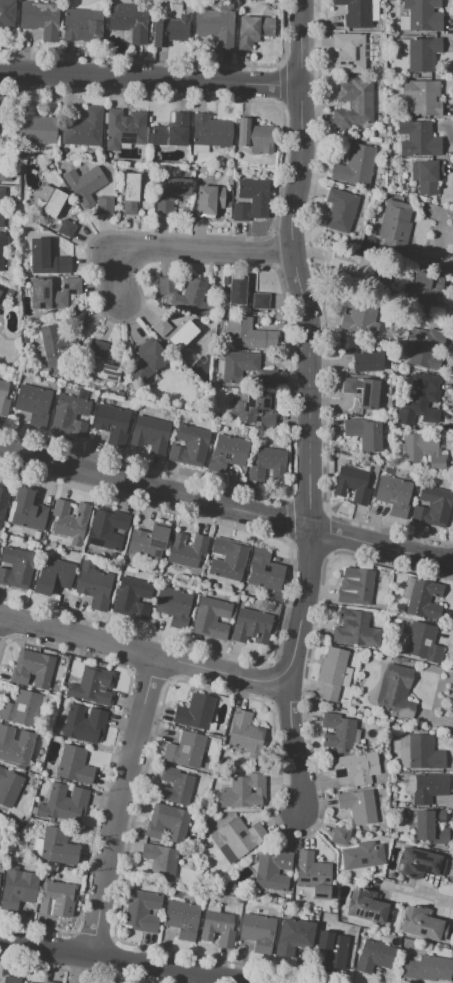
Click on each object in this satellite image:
building: (6, 13)
building: (355, 13)
building: (422, 15)
building: (40, 18)
building: (128, 20)
building: (82, 25)
building: (216, 25)
building: (171, 29)
building: (253, 30)
building: (349, 52)
building: (423, 55)
road: (151, 78)
building: (421, 97)
building: (353, 104)
building: (1, 105)
building: (35, 126)
building: (124, 128)
building: (83, 129)
building: (172, 132)
building: (210, 132)
building: (255, 136)
building: (418, 139)
building: (355, 165)
building: (5, 175)
building: (427, 177)
building: (84, 185)
building: (130, 193)
building: (170, 193)
building: (209, 199)
building: (50, 200)
building: (251, 200)
building: (1, 205)
building: (104, 205)
building: (339, 210)
building: (397, 224)
building: (66, 227)
building: (1, 250)
road: (178, 250)
building: (47, 257)
road: (295, 265)
building: (349, 266)
building: (0, 291)
building: (236, 292)
building: (424, 292)
building: (53, 293)
building: (188, 295)
building: (359, 315)
building: (160, 327)
building: (249, 334)
building: (183, 339)
building: (56, 345)
building: (419, 348)
building: (99, 349)
building: (359, 356)
building: (147, 360)
building: (246, 368)
building: (105, 372)
building: (362, 391)
building: (3, 398)
building: (416, 398)
building: (33, 403)
building: (255, 407)
building: (69, 415)
building: (111, 423)
building: (148, 434)
building: (364, 434)
building: (189, 445)
building: (423, 450)
building: (227, 452)
building: (268, 463)
building: (352, 484)
road: (155, 491)
building: (393, 495)
building: (4, 498)
building: (432, 506)
building: (27, 510)
building: (70, 521)
building: (107, 528)
building: (148, 542)
road: (382, 546)
building: (186, 550)
building: (228, 558)
building: (17, 567)
building: (265, 570)
building: (53, 575)
building: (356, 585)
building: (94, 586)
building: (421, 597)
building: (132, 598)
building: (173, 606)
road: (301, 607)
building: (211, 618)
building: (251, 626)
building: (355, 628)
building: (422, 642)
road: (138, 653)
building: (32, 668)
building: (331, 672)
building: (92, 685)
building: (394, 690)
building: (21, 708)
building: (195, 711)
building: (84, 724)
building: (337, 732)
building: (246, 734)
road: (296, 744)
building: (16, 745)
building: (185, 750)
building: (424, 753)
building: (74, 765)
building: (357, 767)
building: (9, 786)
building: (175, 786)
building: (428, 788)
building: (252, 790)
building: (243, 792)
building: (62, 802)
building: (358, 805)
road: (119, 806)
building: (168, 822)
building: (430, 827)
building: (339, 835)
building: (239, 838)
building: (58, 846)
building: (362, 855)
building: (160, 861)
building: (418, 863)
building: (272, 870)
building: (313, 874)
building: (18, 890)
road: (412, 894)
building: (55, 897)
building: (366, 906)
building: (142, 911)
building: (182, 918)
building: (422, 924)
building: (217, 928)
building: (258, 932)
building: (293, 936)
building: (332, 949)
building: (374, 956)
road: (118, 961)
building: (428, 968)
building: (12, 981)
building: (30, 982)

